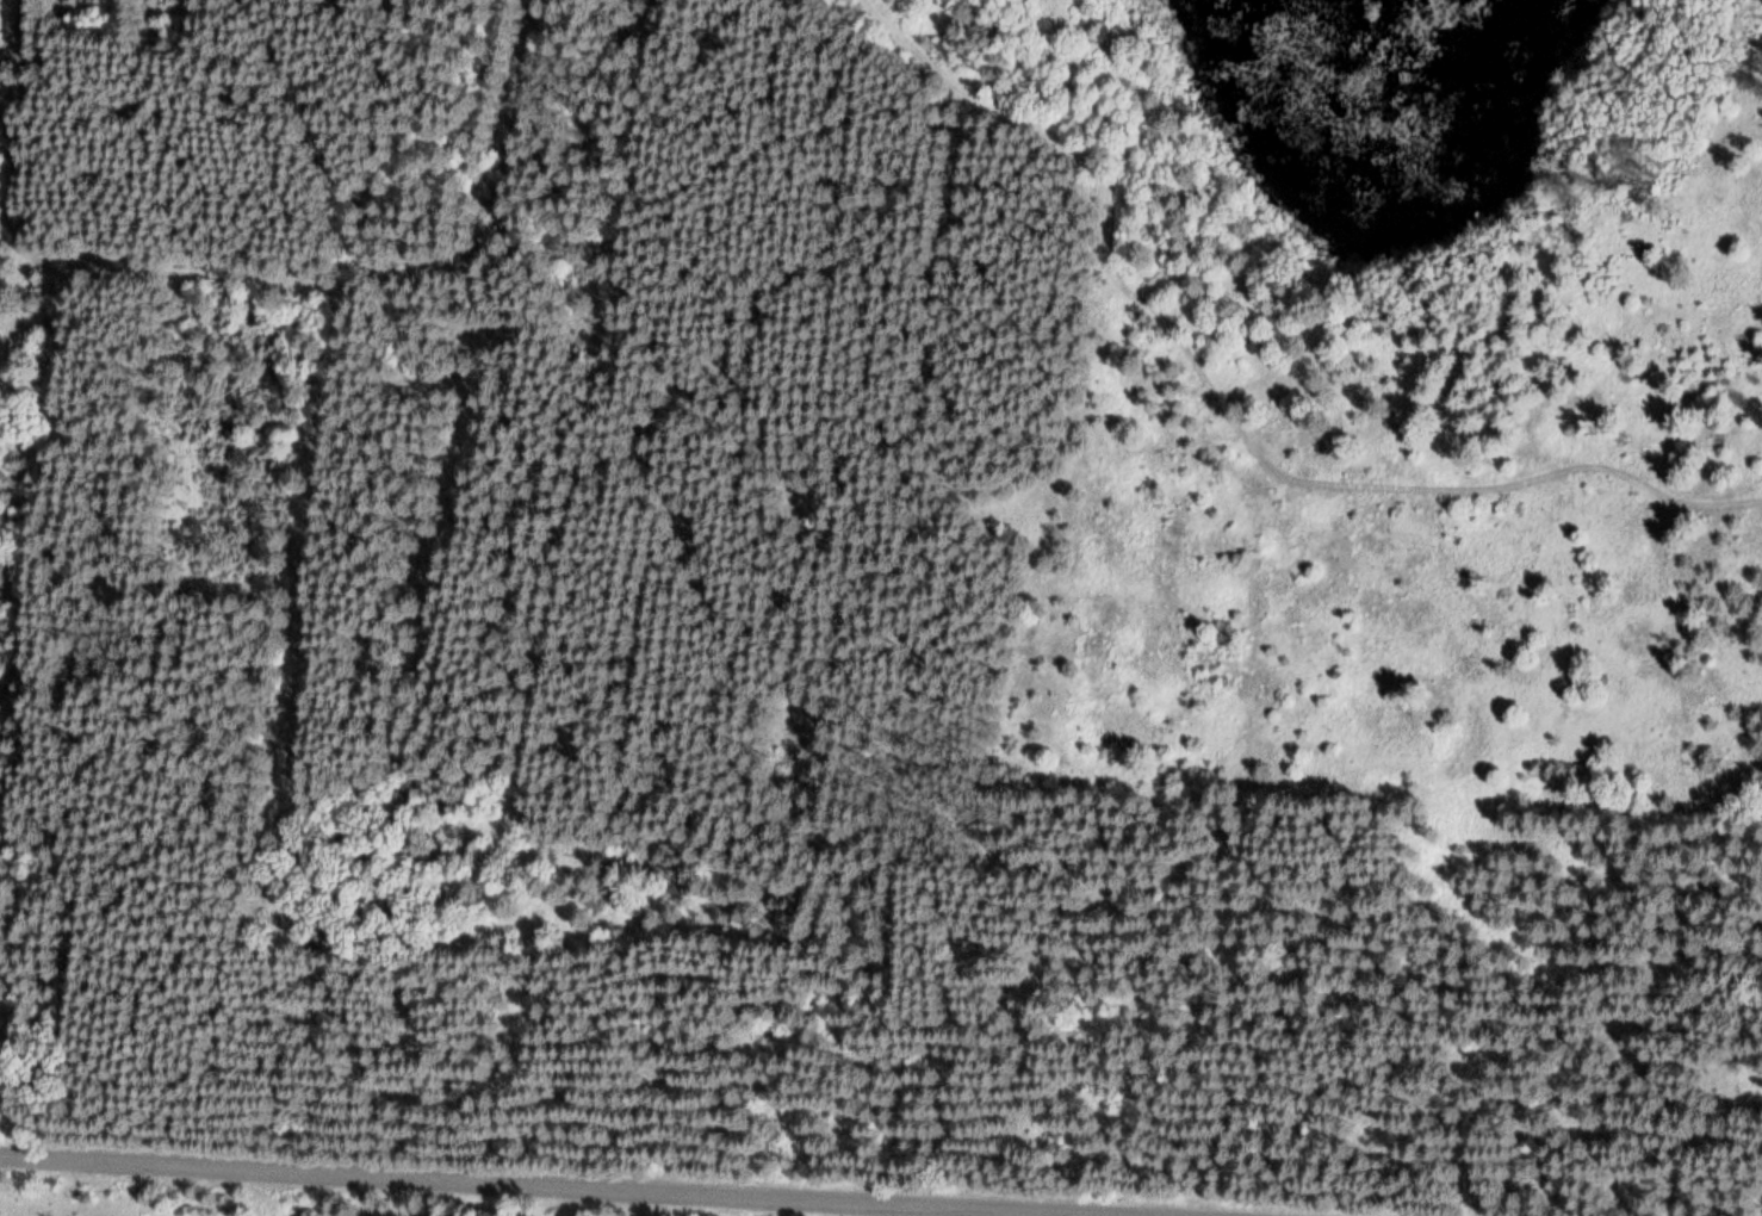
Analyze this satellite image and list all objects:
road: (610, 1184)

